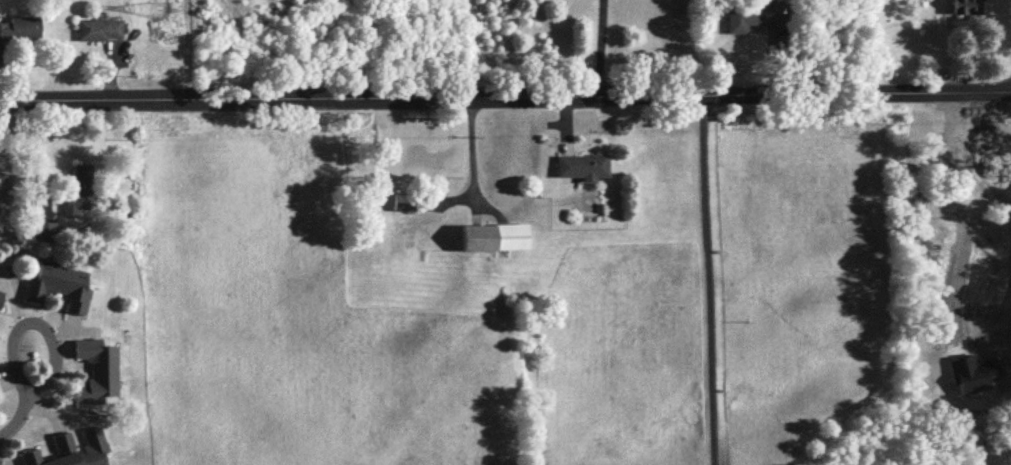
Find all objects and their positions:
building: (964, 6)
power tower: (158, 10)
building: (750, 15)
building: (21, 27)
building: (99, 28)
road: (601, 47)
road: (505, 94)
road: (473, 155)
building: (581, 165)
road: (5, 167)
building: (78, 188)
building: (43, 217)
building: (494, 236)
road: (702, 279)
building: (57, 285)
building: (0, 293)
road: (37, 327)
building: (95, 369)
road: (15, 426)
building: (71, 450)

